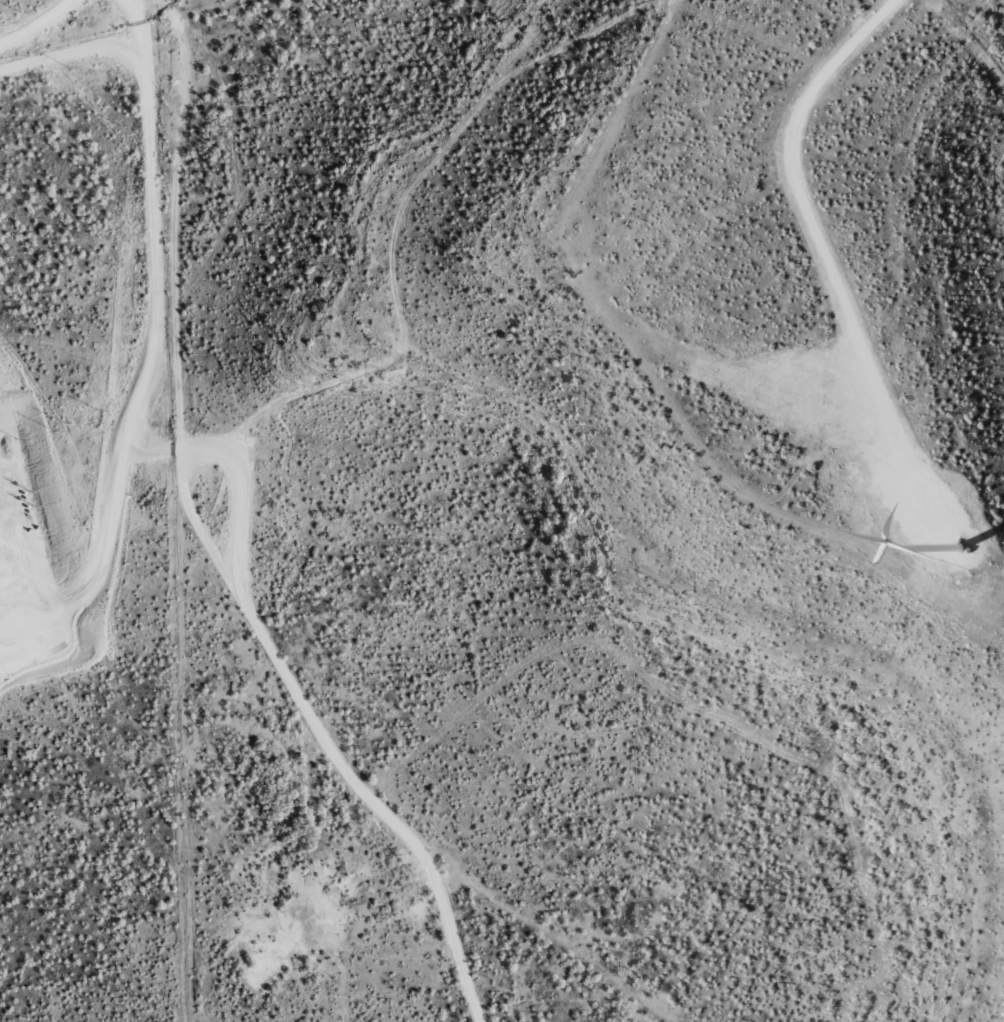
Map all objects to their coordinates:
road: (5, 2)
road: (239, 416)
wind turbine: (960, 547)
road: (328, 733)

